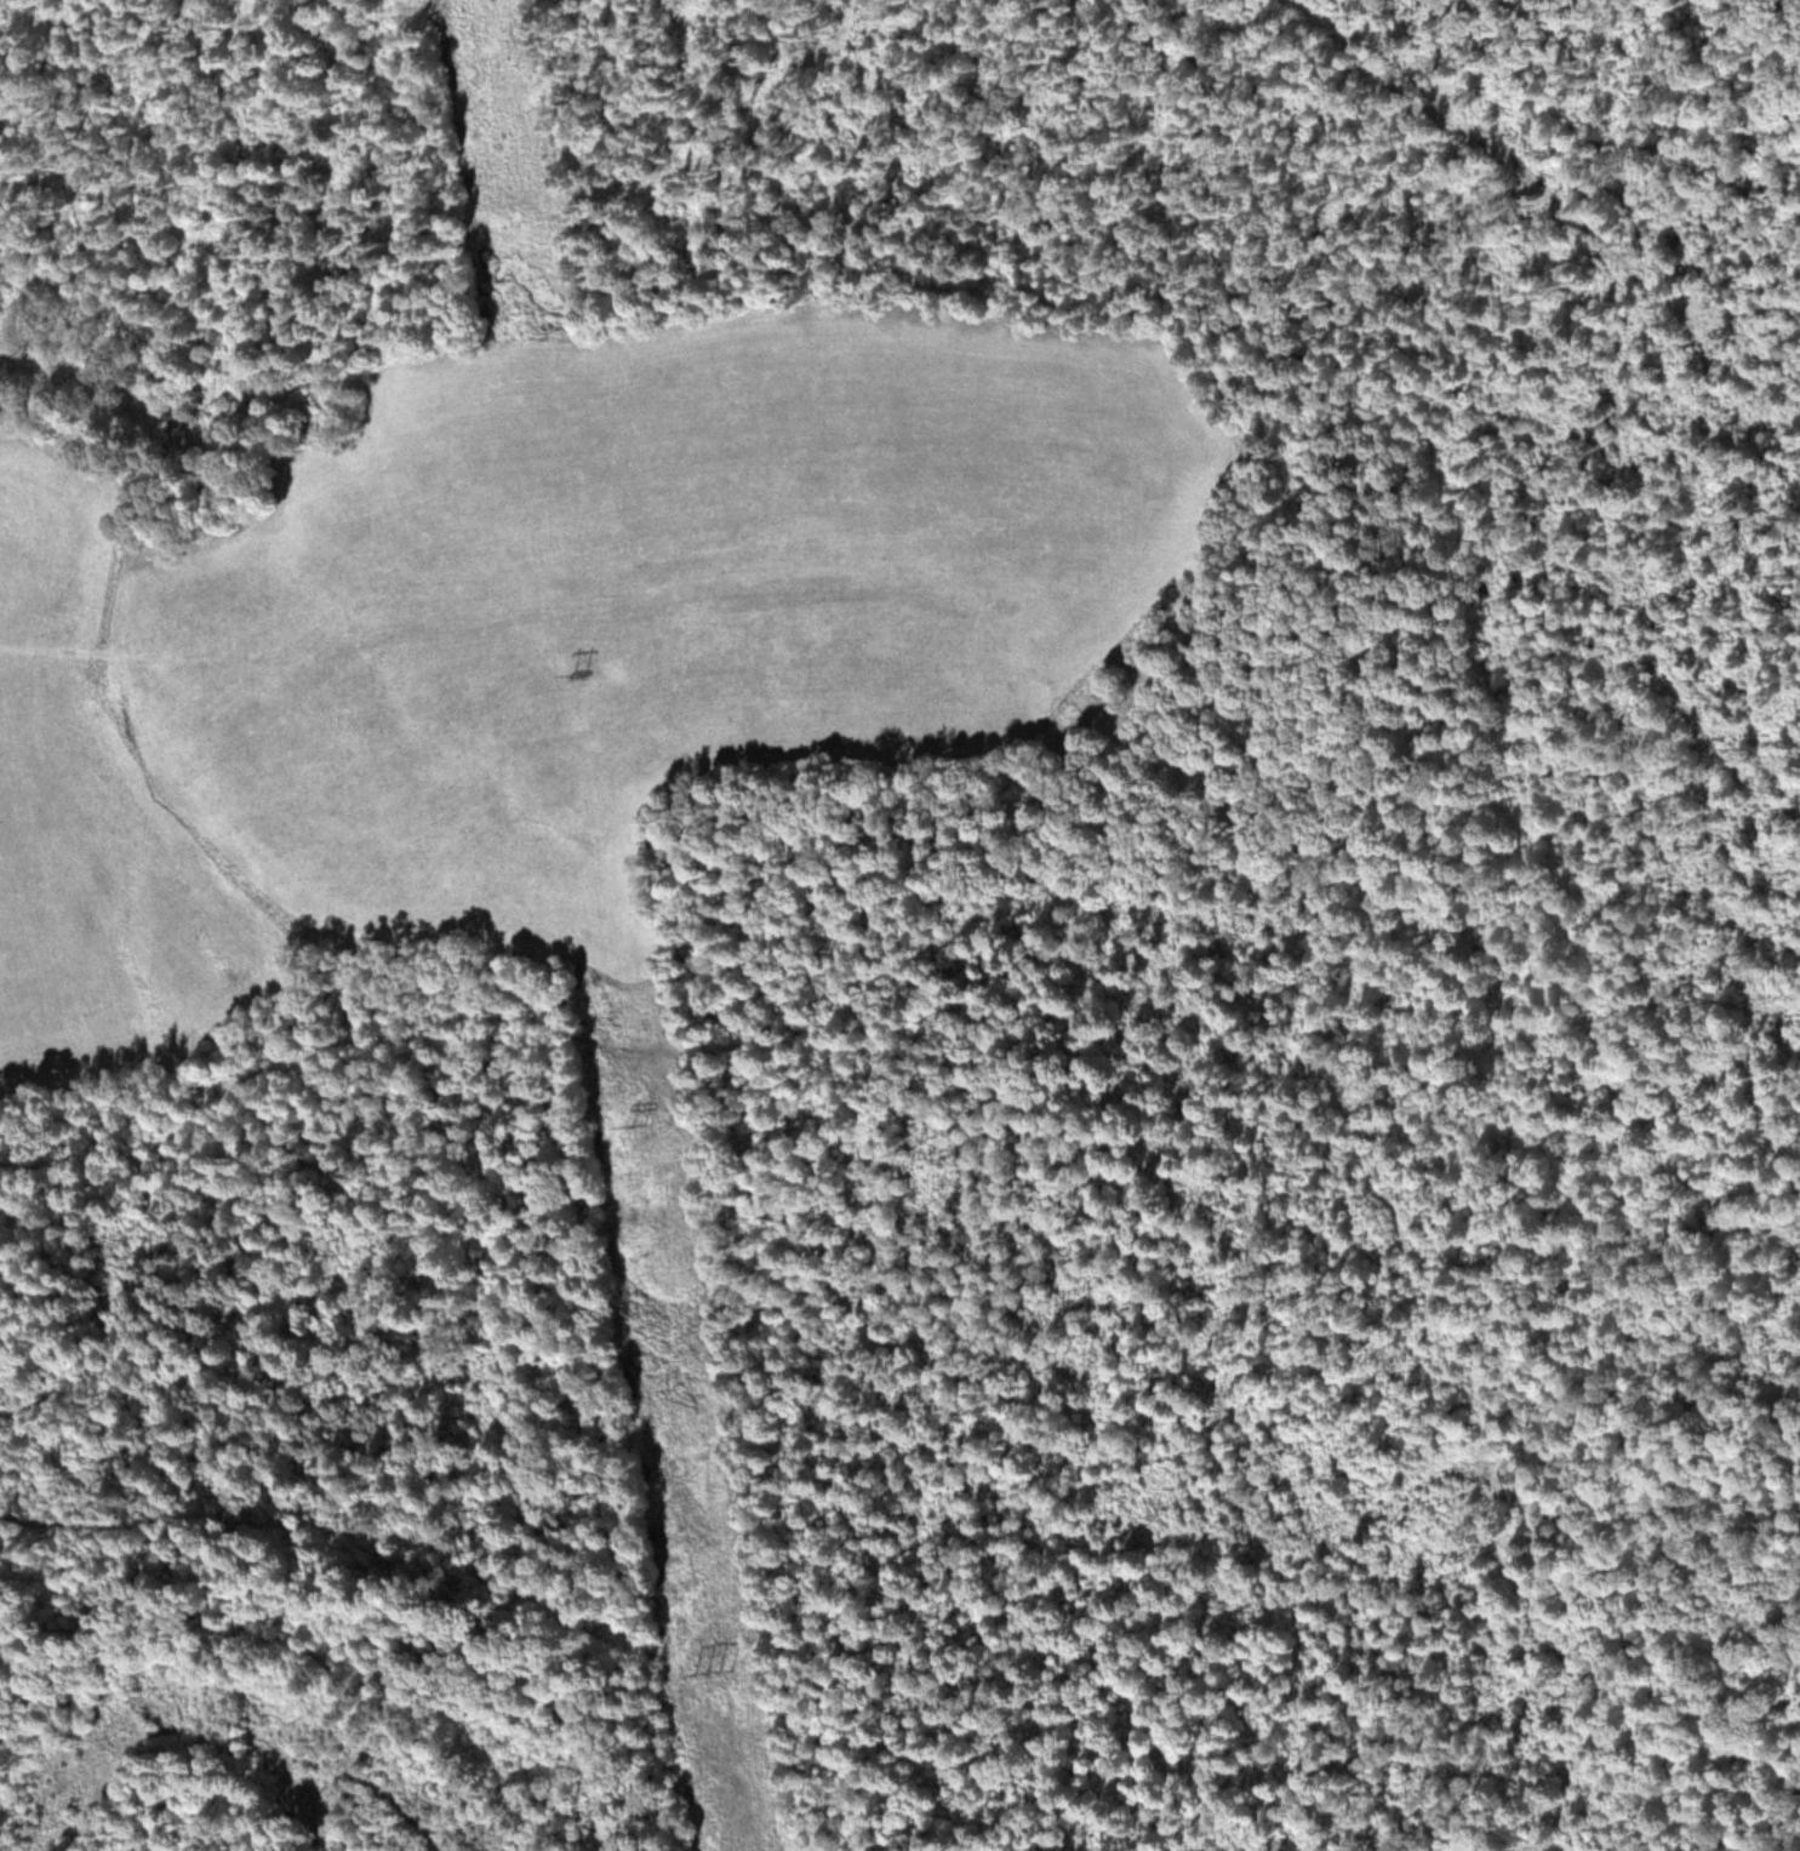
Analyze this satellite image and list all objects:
power tower: (573, 669)
road: (681, 1046)
power tower: (636, 1122)
road: (141, 1142)
power tower: (707, 1668)

